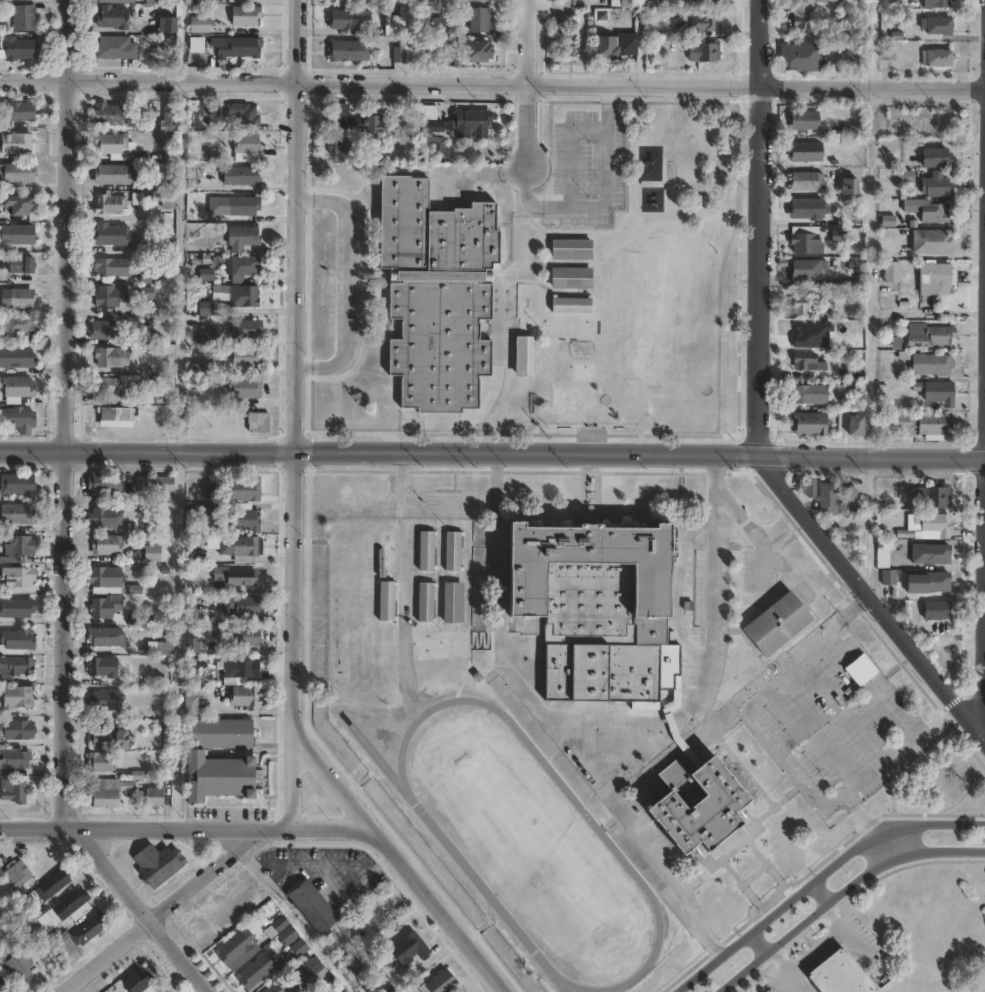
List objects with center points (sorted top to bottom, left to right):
building: (346, 0)
building: (476, 0)
building: (705, 0)
building: (116, 1)
building: (198, 1)
building: (427, 1)
building: (152, 2)
building: (624, 3)
building: (938, 3)
building: (244, 15)
building: (802, 16)
building: (20, 17)
building: (111, 17)
building: (478, 19)
building: (348, 20)
building: (705, 21)
building: (165, 24)
building: (198, 24)
building: (936, 24)
building: (392, 26)
building: (434, 26)
road: (295, 40)
road: (759, 42)
road: (872, 42)
building: (604, 43)
building: (114, 47)
building: (16, 48)
building: (237, 48)
building: (347, 50)
building: (475, 50)
building: (703, 52)
building: (887, 53)
building: (399, 55)
building: (799, 57)
building: (936, 57)
road: (147, 80)
road: (527, 83)
road: (526, 85)
road: (872, 85)
building: (15, 111)
building: (424, 111)
building: (240, 113)
building: (107, 114)
building: (168, 117)
building: (352, 121)
building: (469, 122)
building: (803, 122)
building: (428, 127)
building: (848, 129)
building: (15, 144)
building: (109, 145)
building: (337, 146)
building: (245, 148)
building: (806, 153)
building: (170, 155)
building: (935, 156)
building: (16, 172)
road: (483, 173)
building: (110, 175)
building: (239, 176)
building: (909, 176)
building: (803, 181)
building: (936, 185)
building: (850, 186)
building: (162, 199)
road: (605, 199)
building: (108, 204)
building: (17, 205)
building: (241, 206)
building: (807, 209)
building: (927, 210)
building: (195, 214)
building: (838, 221)
building: (16, 235)
building: (110, 235)
building: (241, 238)
building: (932, 242)
building: (161, 243)
building: (805, 244)
building: (573, 249)
road: (179, 264)
building: (20, 265)
road: (294, 265)
building: (110, 267)
building: (240, 268)
road: (869, 269)
building: (806, 270)
building: (892, 272)
building: (205, 275)
building: (148, 278)
building: (573, 279)
building: (935, 279)
road: (346, 283)
building: (836, 288)
building: (107, 296)
building: (244, 296)
building: (441, 296)
building: (18, 298)
building: (574, 306)
building: (805, 306)
building: (203, 308)
building: (18, 327)
building: (244, 329)
building: (102, 330)
building: (807, 331)
building: (205, 335)
building: (928, 335)
building: (111, 357)
building: (245, 357)
building: (526, 357)
building: (18, 358)
building: (805, 363)
building: (930, 365)
building: (197, 370)
building: (104, 385)
building: (242, 388)
building: (15, 389)
building: (936, 392)
building: (809, 395)
building: (146, 397)
building: (575, 401)
building: (113, 414)
building: (16, 419)
building: (906, 419)
building: (256, 422)
building: (809, 424)
building: (855, 426)
building: (887, 426)
building: (935, 427)
road: (492, 451)
road: (762, 455)
building: (17, 484)
building: (103, 484)
building: (152, 485)
building: (806, 487)
building: (241, 490)
building: (210, 491)
building: (931, 496)
building: (828, 501)
building: (211, 509)
building: (16, 515)
building: (103, 518)
building: (243, 521)
road: (64, 523)
building: (926, 525)
road: (867, 526)
road: (751, 528)
building: (105, 545)
building: (16, 549)
building: (245, 549)
building: (425, 551)
building: (453, 551)
building: (151, 554)
building: (930, 554)
building: (881, 557)
building: (133, 572)
building: (16, 577)
building: (231, 578)
building: (888, 578)
building: (104, 580)
building: (927, 582)
building: (387, 600)
building: (426, 602)
building: (591, 602)
building: (452, 603)
building: (103, 608)
building: (15, 609)
building: (245, 609)
building: (932, 610)
building: (774, 622)
building: (104, 637)
building: (242, 637)
road: (292, 638)
building: (16, 642)
building: (190, 646)
building: (159, 647)
road: (807, 656)
building: (193, 662)
building: (102, 666)
building: (240, 668)
building: (13, 669)
building: (244, 696)
building: (15, 698)
building: (103, 699)
building: (189, 704)
parking lot: (830, 719)
road: (608, 720)
building: (16, 729)
building: (106, 737)
building: (13, 758)
building: (220, 760)
building: (99, 761)
road: (873, 770)
building: (14, 790)
building: (103, 794)
building: (158, 794)
building: (697, 803)
road: (187, 826)
road: (870, 826)
road: (637, 833)
track: (445, 844)
road: (397, 860)
building: (156, 863)
building: (15, 872)
road: (818, 878)
building: (1, 880)
building: (52, 883)
road: (840, 893)
building: (69, 906)
building: (311, 906)
road: (166, 909)
building: (87, 926)
building: (275, 927)
building: (2, 934)
building: (287, 935)
park: (891, 935)
building: (298, 947)
building: (237, 948)
building: (408, 948)
building: (16, 965)
building: (255, 970)
building: (314, 974)
building: (838, 974)
building: (136, 981)
building: (438, 982)
building: (274, 987)
building: (5, 988)

